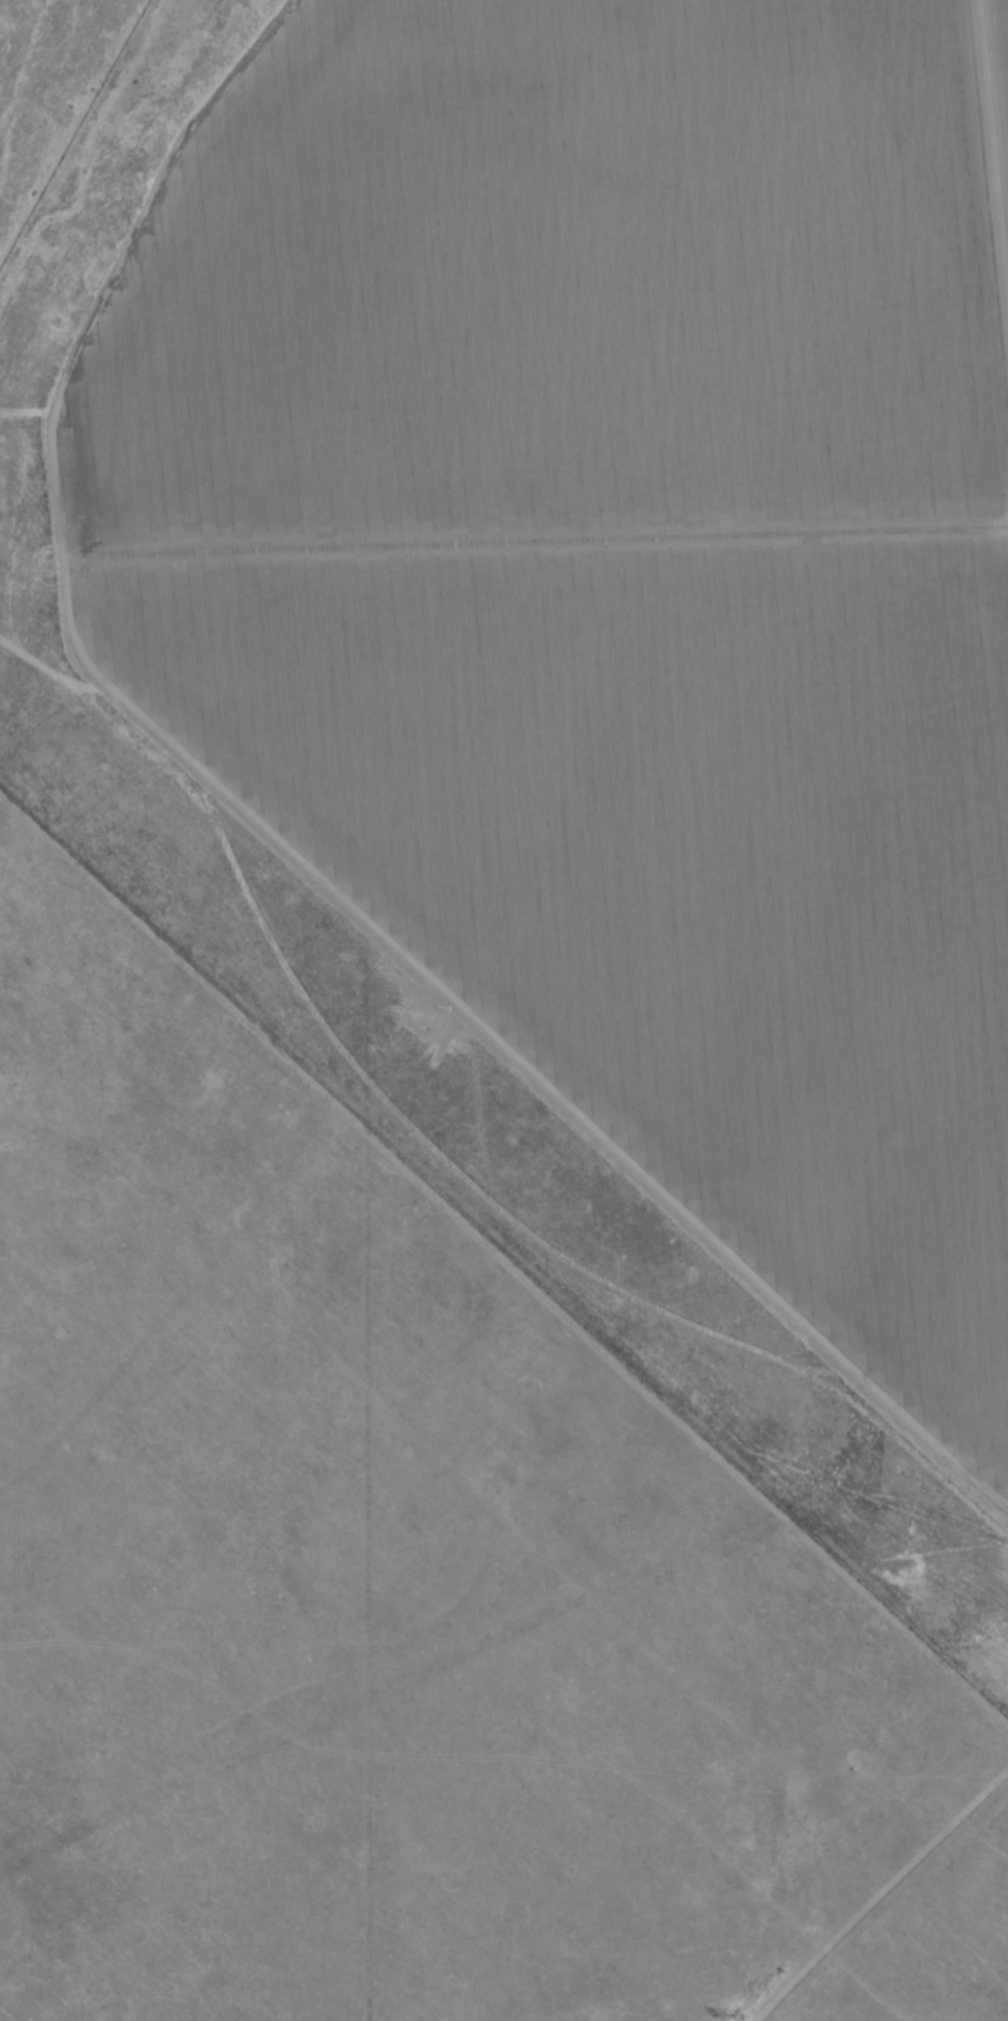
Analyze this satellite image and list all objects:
crop: (614, 620)
power tower: (739, 2010)

